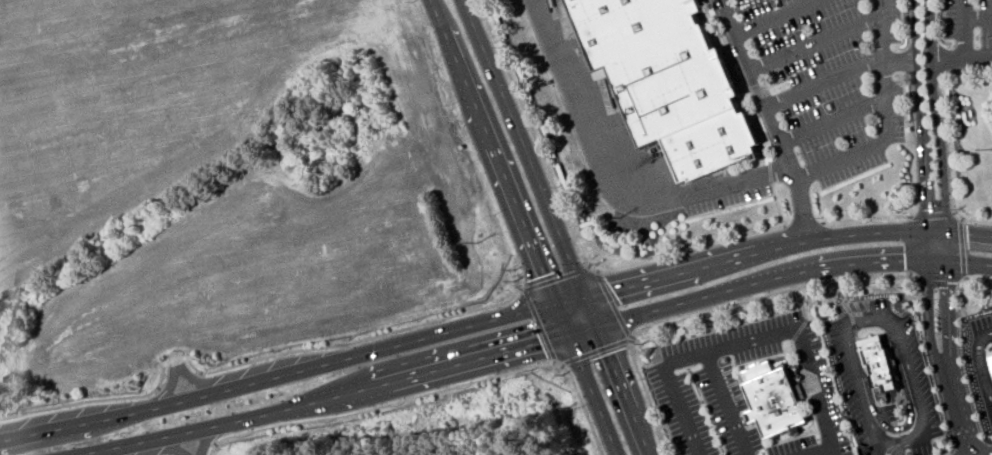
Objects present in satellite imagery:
road: (779, 17)
road: (979, 20)
parking lot: (968, 23)
road: (967, 30)
road: (817, 43)
road: (902, 58)
road: (963, 62)
building: (669, 80)
parking lot: (837, 80)
road: (826, 83)
road: (772, 118)
road: (834, 120)
road: (887, 120)
road: (583, 122)
road: (924, 130)
road: (941, 131)
road: (493, 152)
road: (951, 160)
road: (531, 163)
road: (733, 183)
road: (776, 204)
traffic signals: (930, 209)
road: (932, 213)
road: (865, 218)
power tower: (616, 219)
road: (803, 224)
road: (569, 228)
traffic signals: (967, 235)
power tower: (477, 243)
road: (772, 248)
road: (962, 248)
traffic signals: (921, 262)
road: (971, 264)
traffic signals: (544, 274)
road: (555, 277)
road: (941, 278)
road: (771, 279)
road: (978, 279)
traffic signals: (949, 282)
road: (841, 290)
traffic signals: (612, 291)
road: (772, 292)
road: (611, 304)
road: (849, 316)
road: (876, 319)
road: (538, 324)
road: (362, 339)
traffic signals: (540, 343)
road: (799, 344)
road: (593, 351)
traffic signals: (609, 352)
building: (991, 357)
road: (937, 360)
road: (951, 360)
building: (879, 363)
road: (978, 364)
road: (280, 376)
road: (178, 378)
road: (587, 379)
road: (668, 387)
road: (624, 390)
parking lot: (750, 391)
road: (432, 392)
road: (340, 394)
road: (647, 395)
building: (772, 399)
road: (89, 400)
road: (907, 400)
road: (724, 403)
road: (893, 438)
road: (202, 452)
road: (819, 452)
road: (829, 452)

